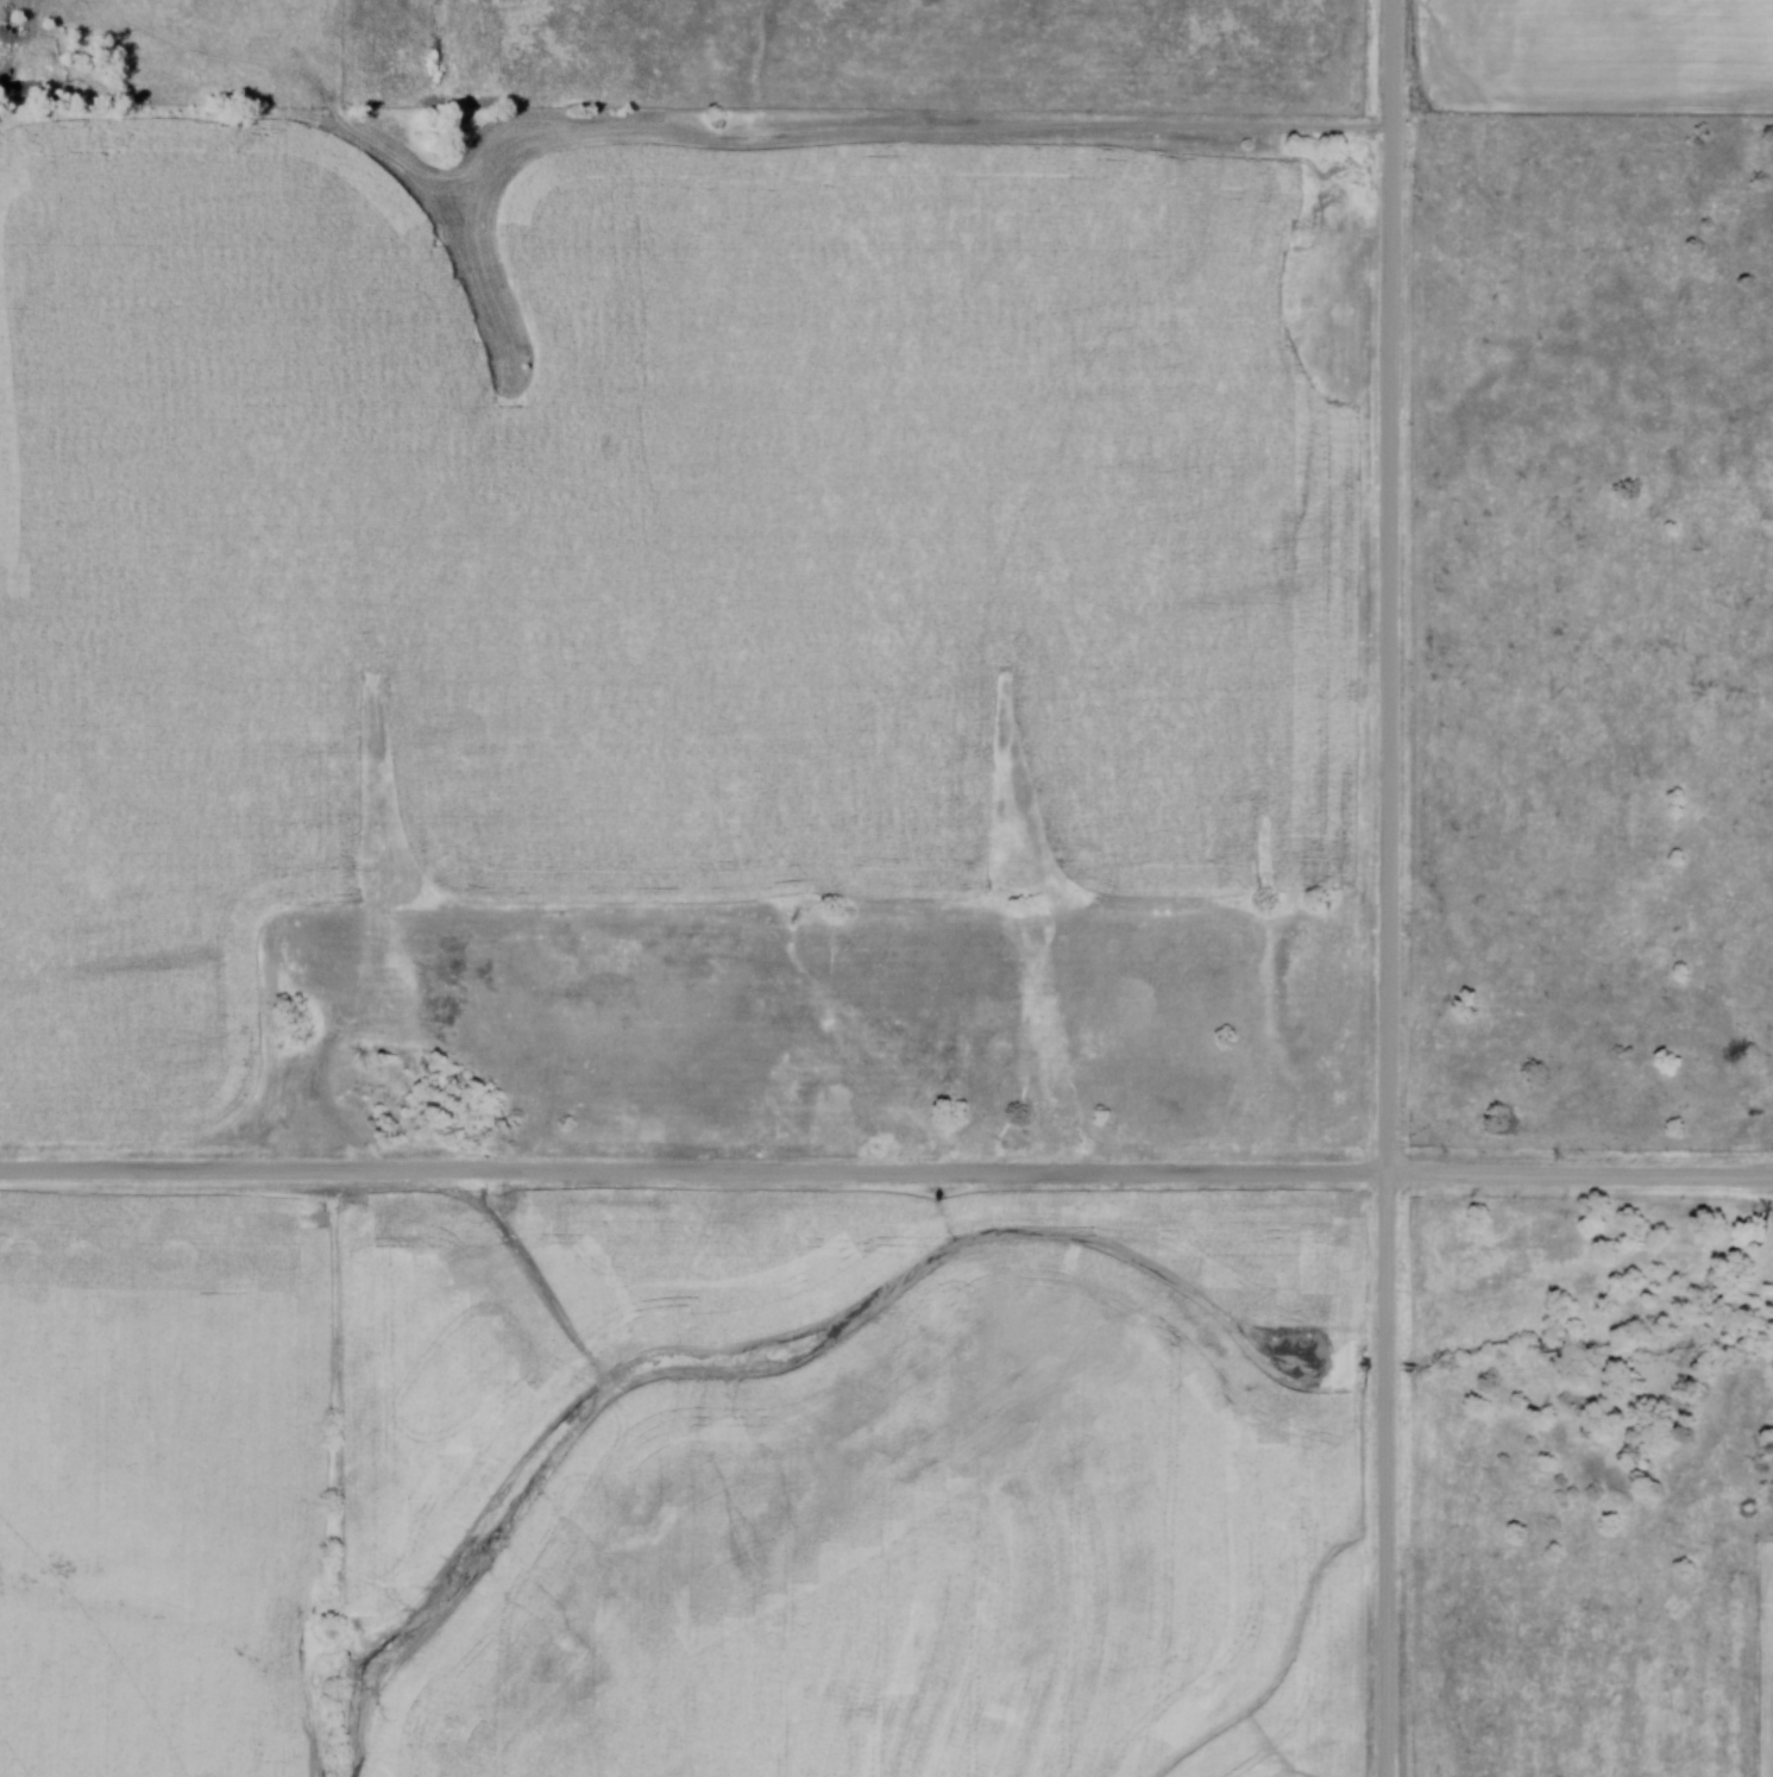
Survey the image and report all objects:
road: (1390, 888)
road: (886, 1170)

